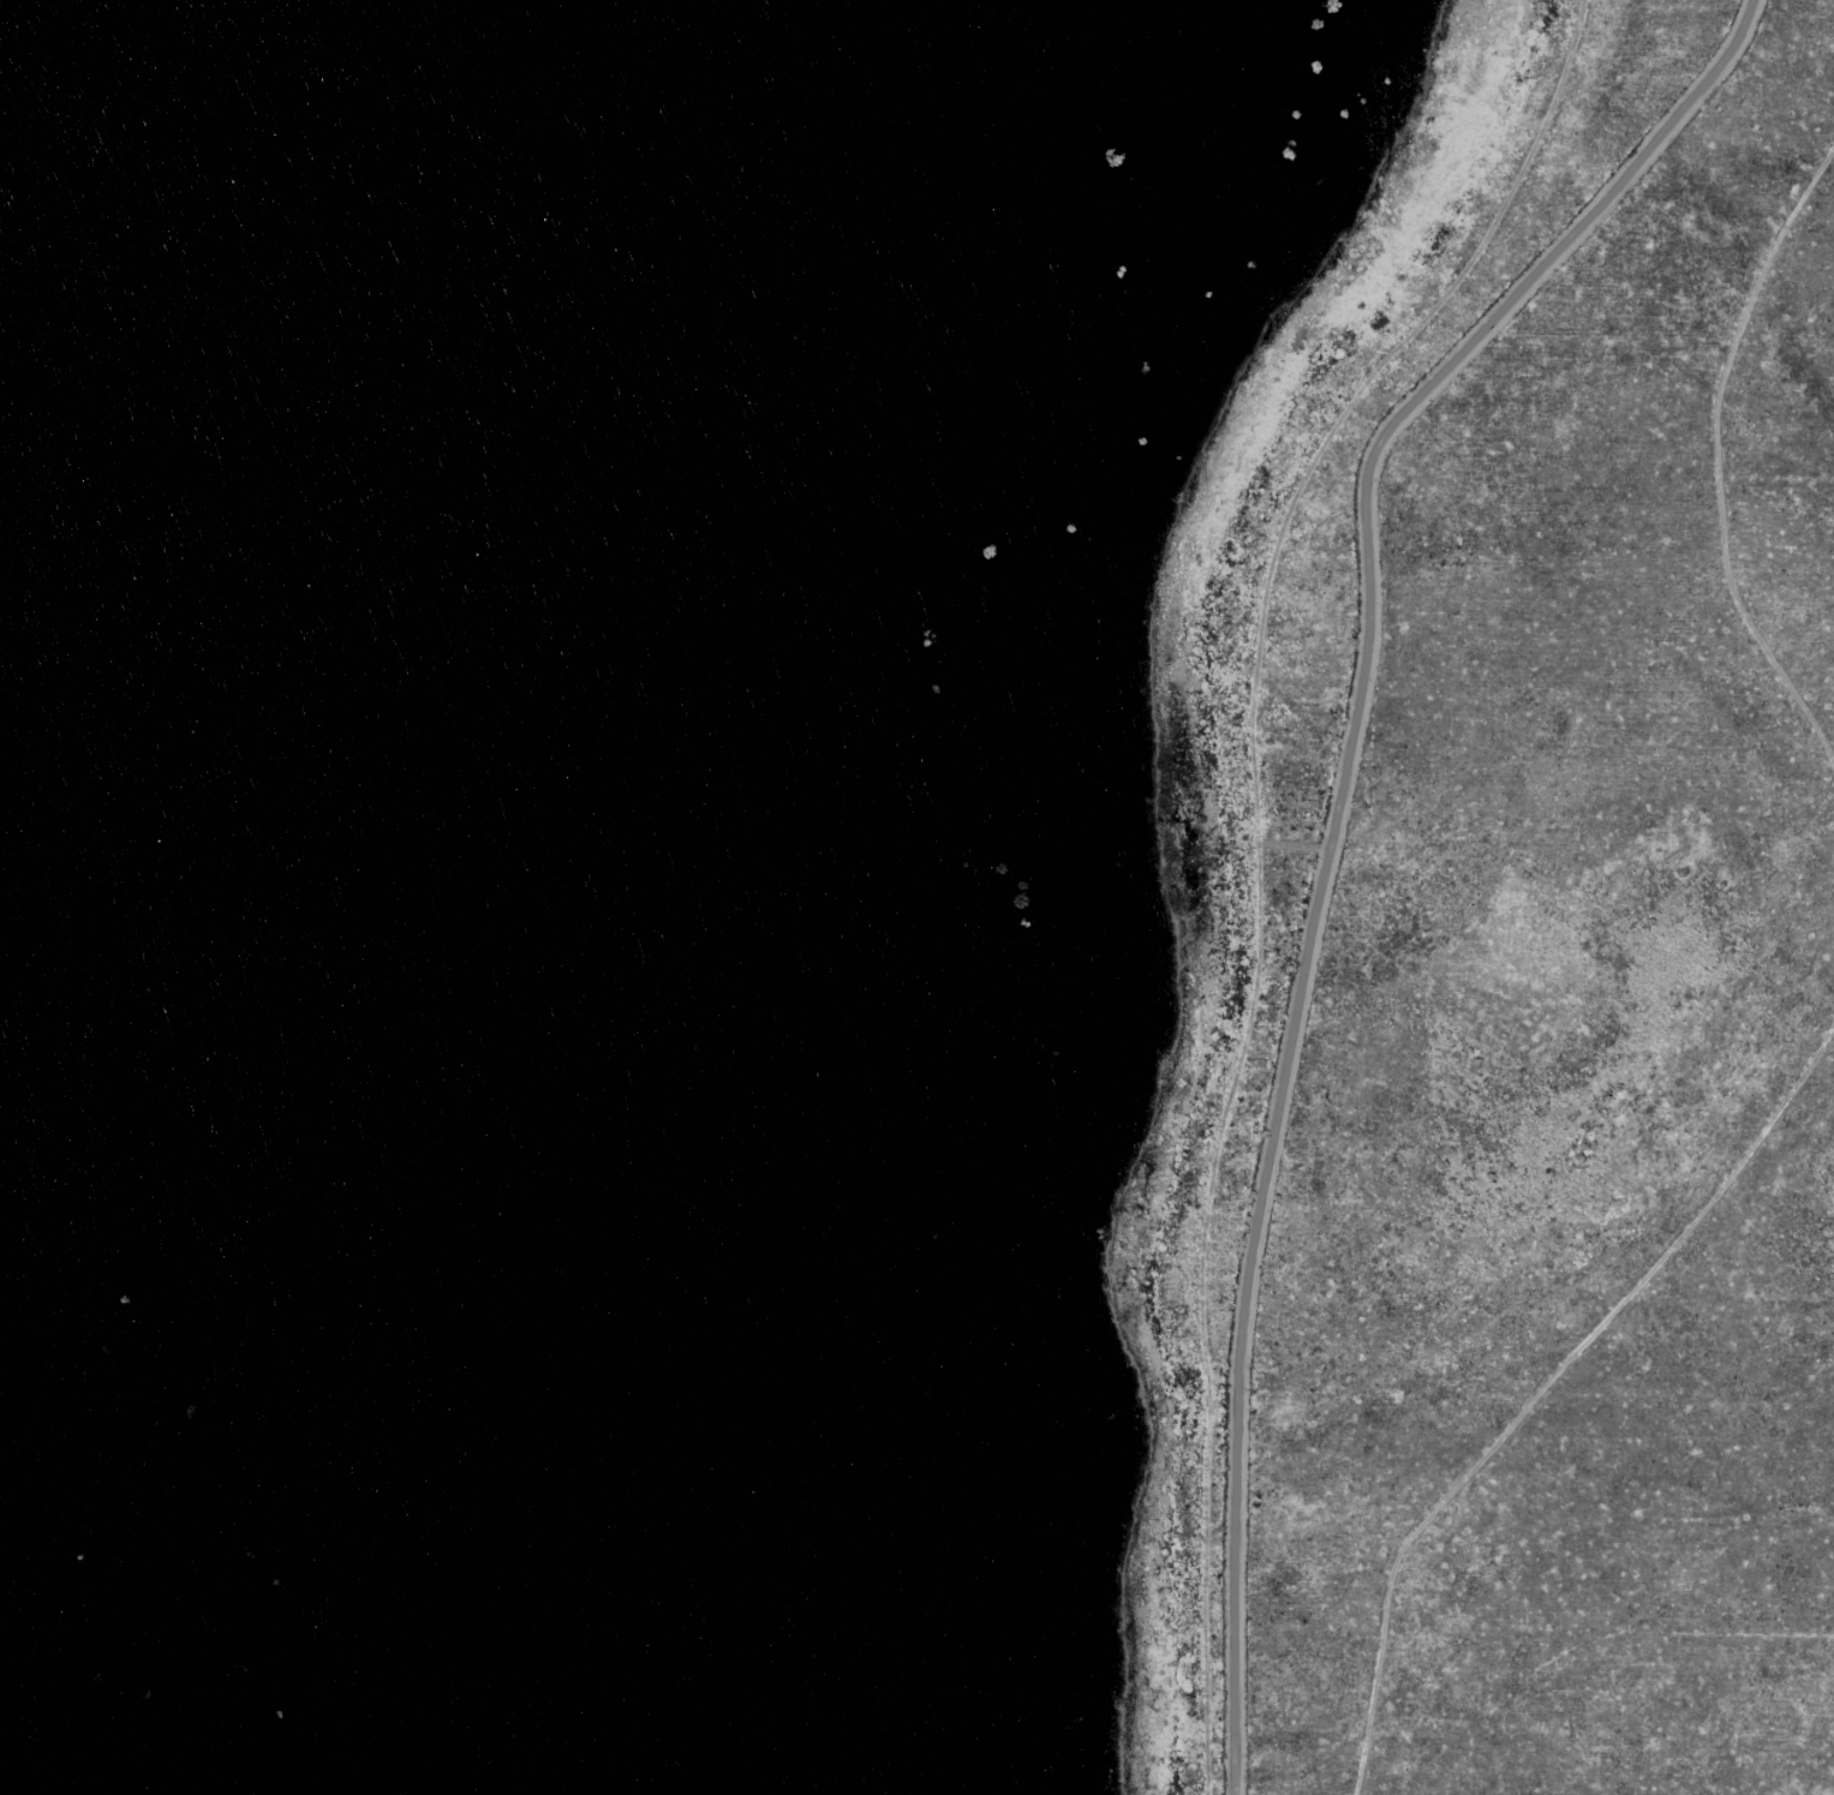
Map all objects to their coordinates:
road: (1717, 457)
road: (1331, 828)
road: (1546, 1384)

